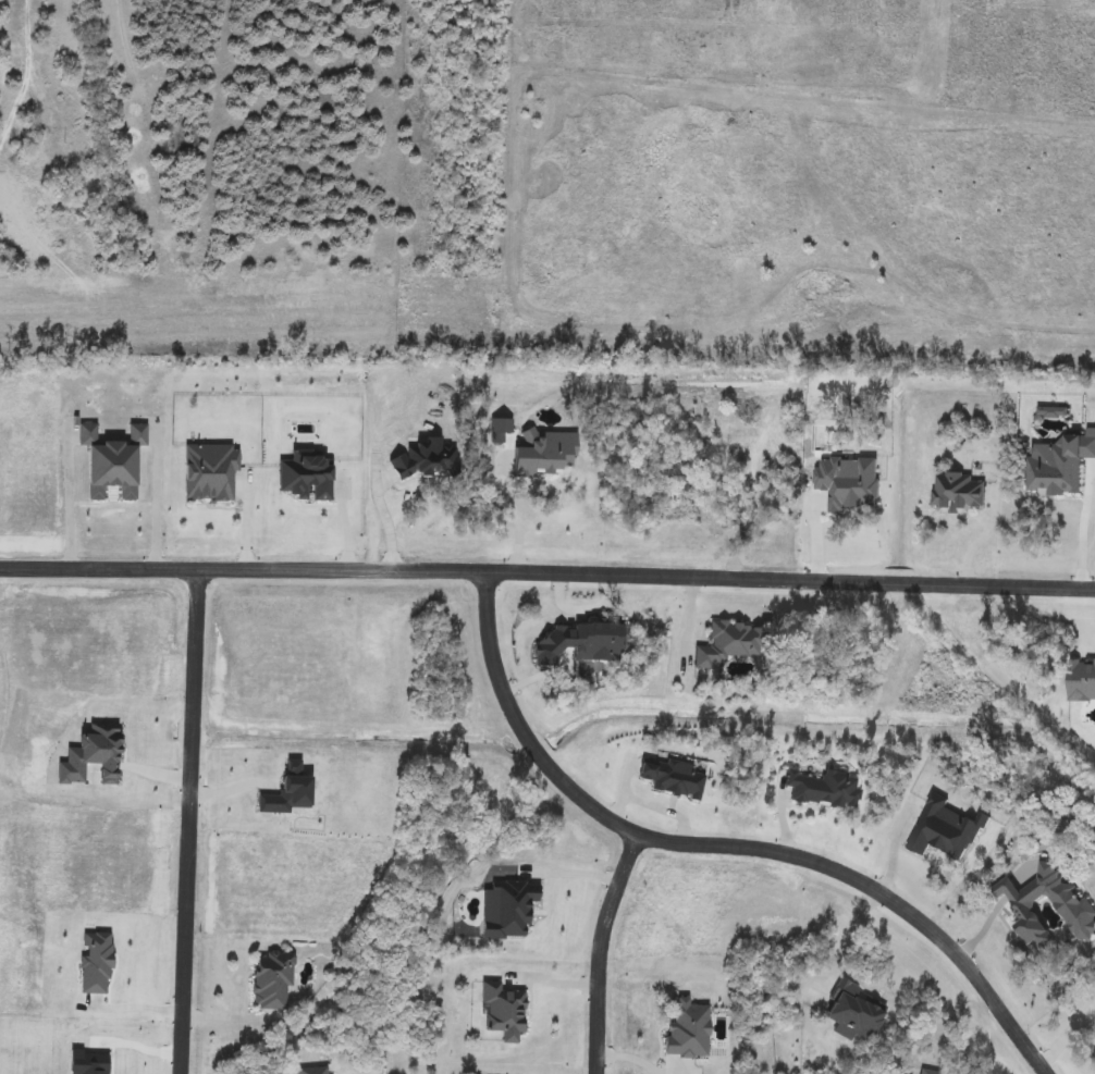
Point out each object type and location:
road: (25, 69)
building: (104, 457)
road: (151, 505)
road: (65, 507)
road: (514, 515)
road: (1081, 530)
road: (982, 538)
road: (547, 572)
building: (723, 643)
road: (187, 823)
road: (725, 847)
road: (569, 874)
road: (600, 951)
building: (267, 983)
road: (130, 1007)
road: (1068, 1034)
road: (291, 1067)
building: (310, 1071)
building: (925, 1072)

